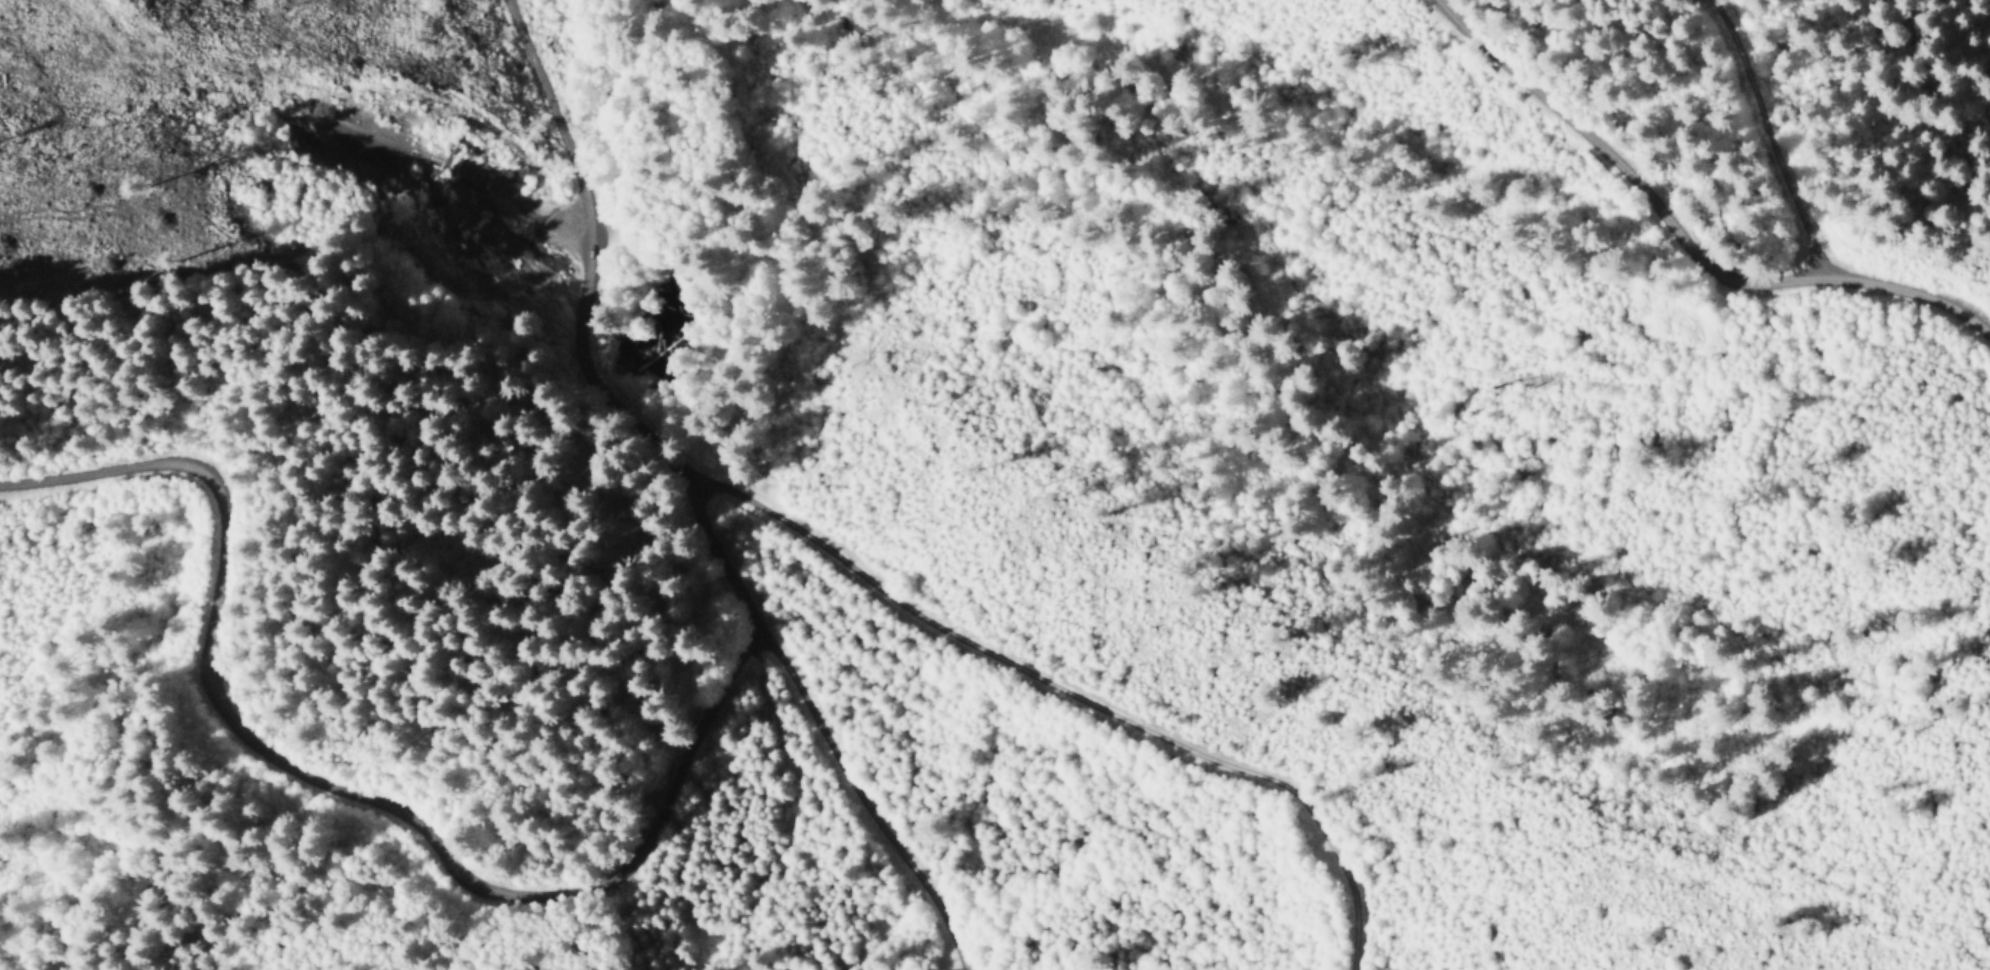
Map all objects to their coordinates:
road: (1681, 239)
road: (583, 331)
road: (888, 782)
road: (328, 812)

